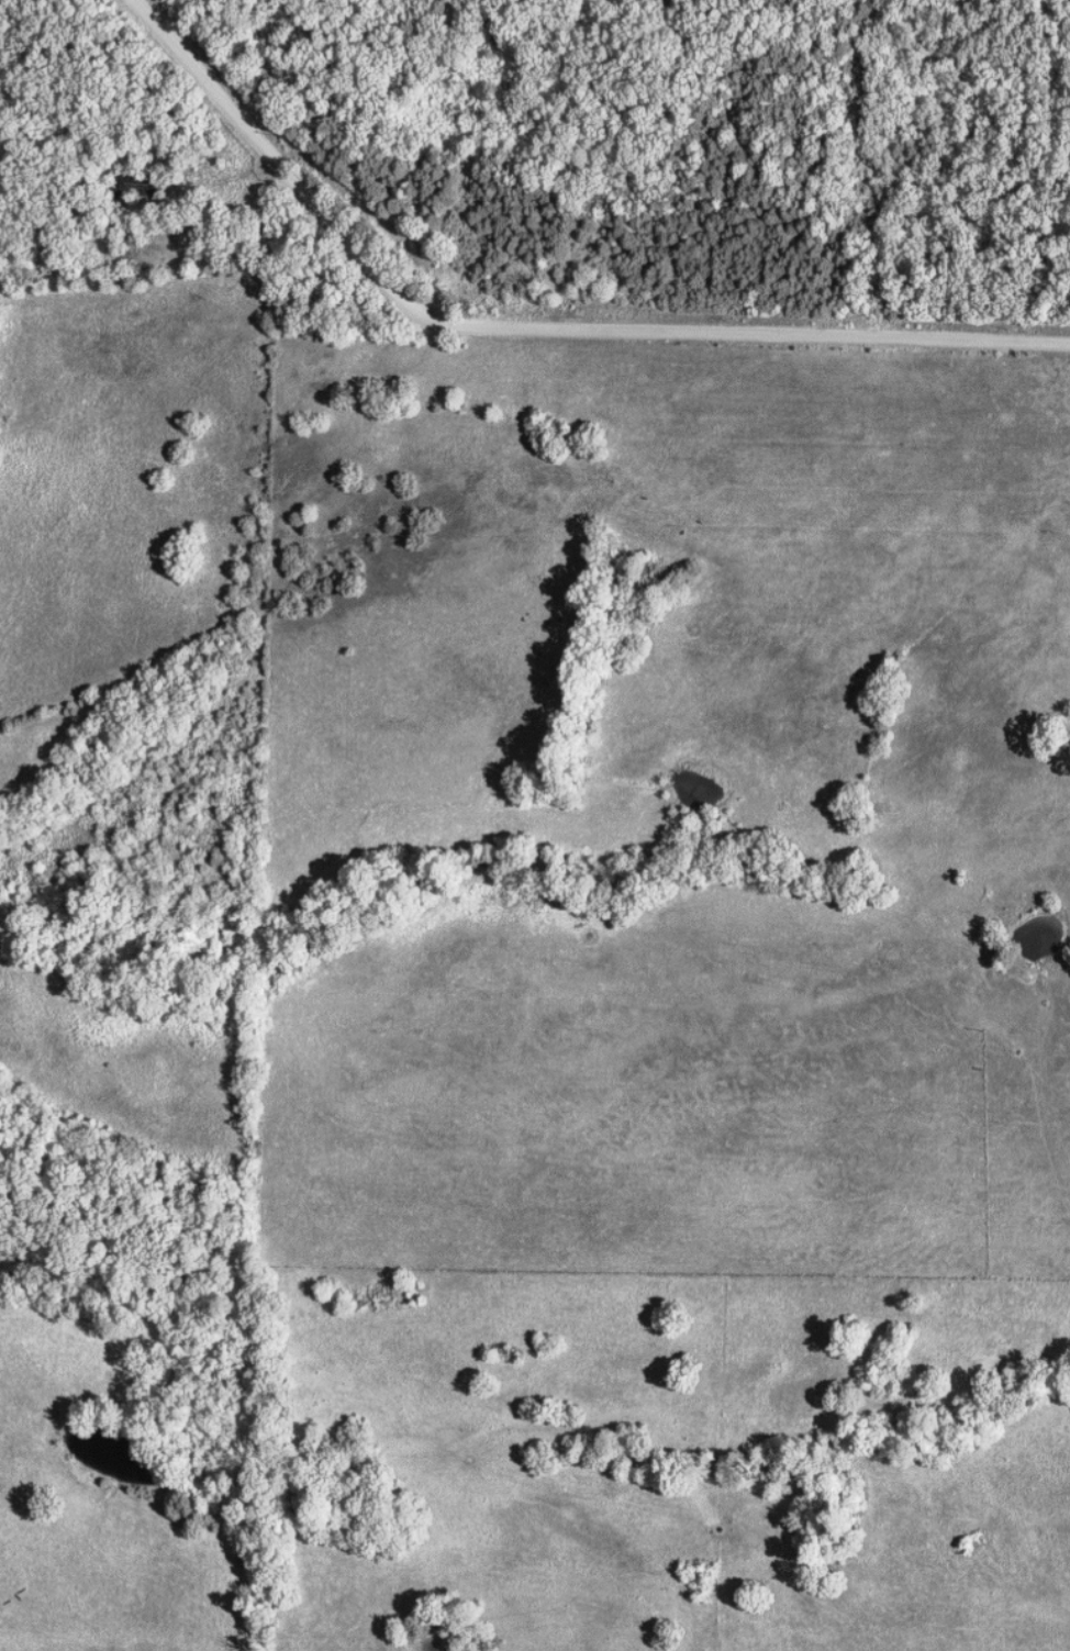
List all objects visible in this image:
road: (532, 331)

